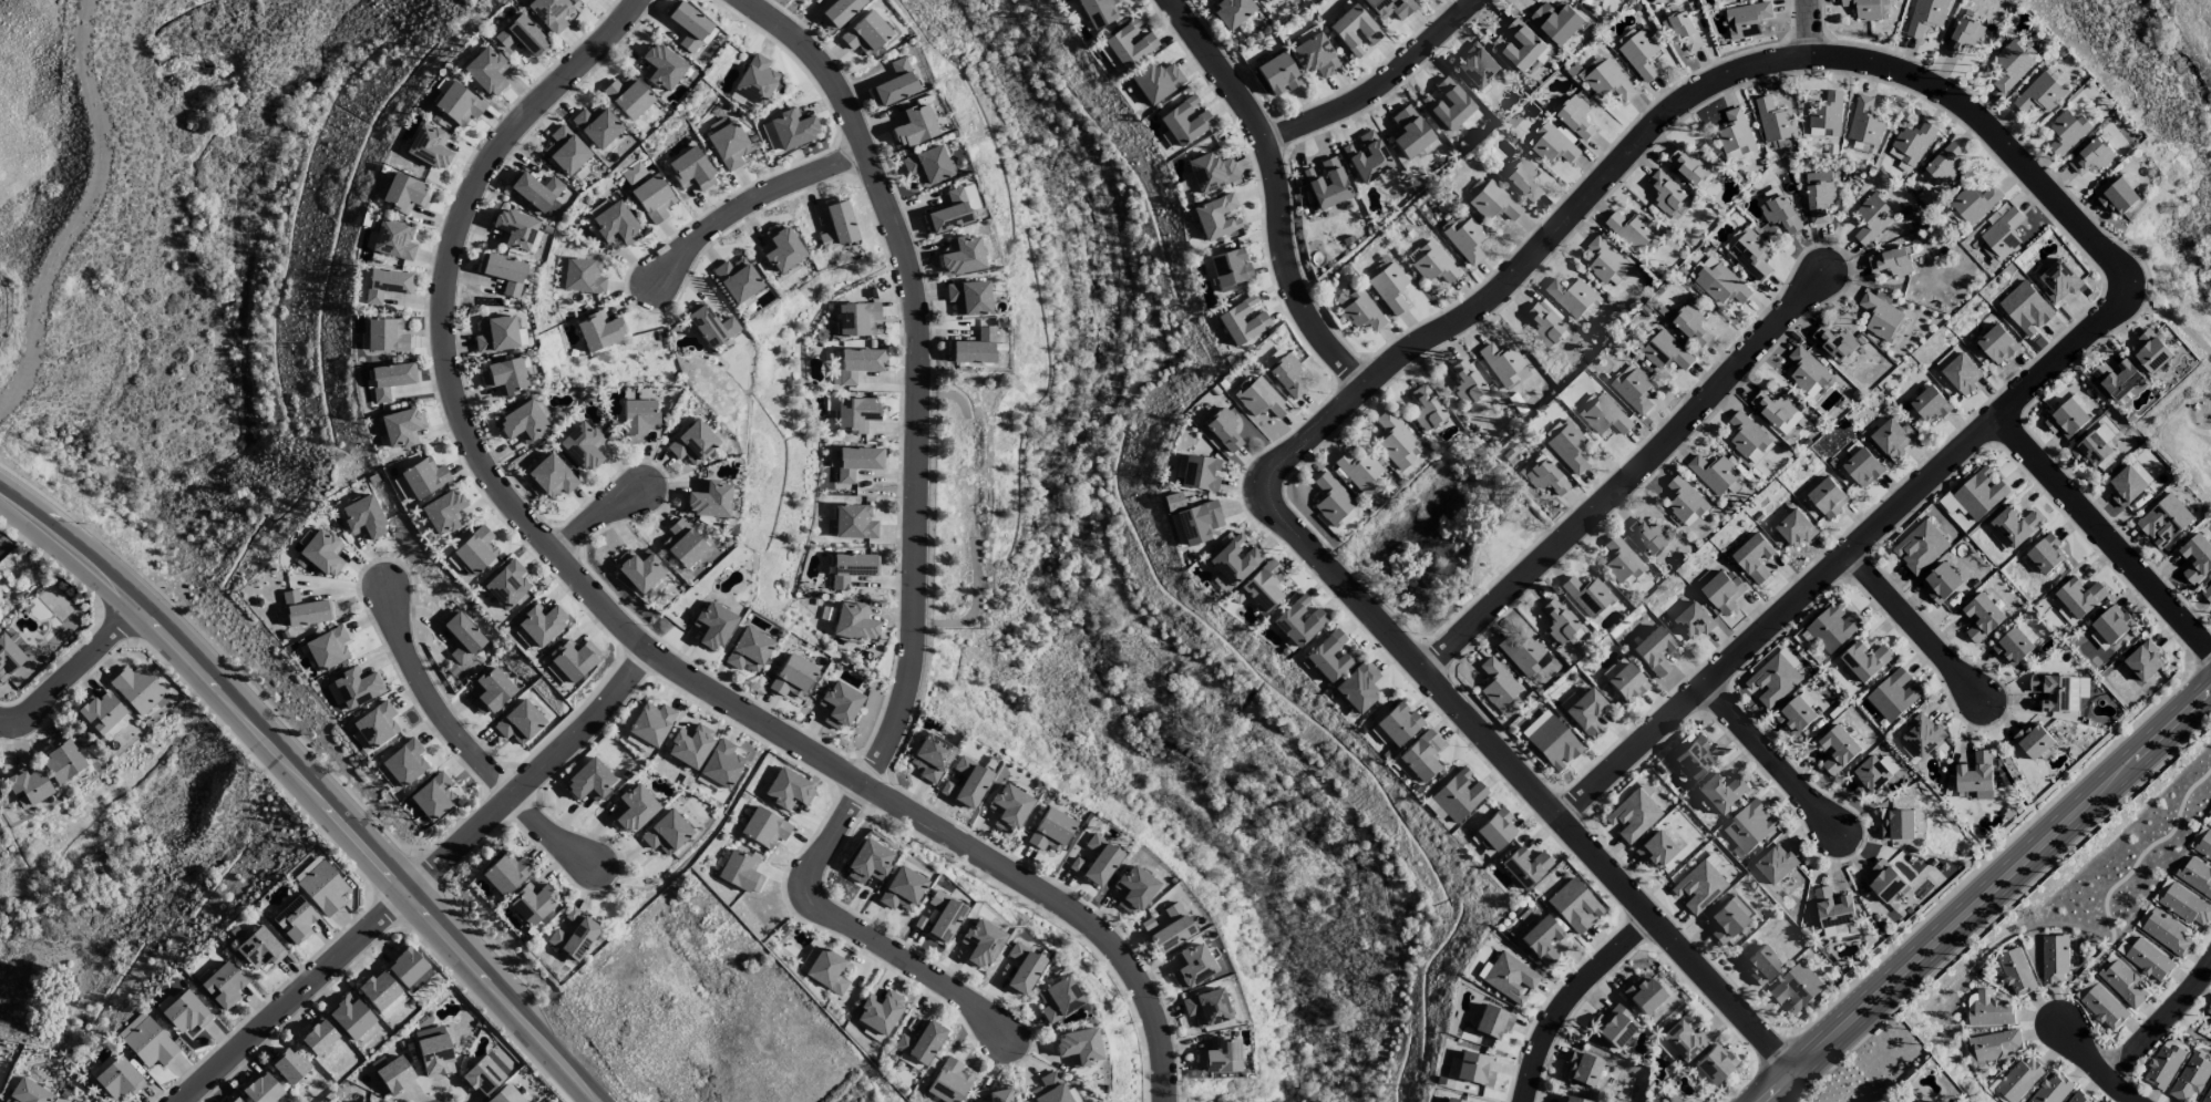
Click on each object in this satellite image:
building: (1598, 0)
building: (1265, 1)
building: (1390, 8)
building: (1865, 9)
building: (1099, 11)
building: (839, 12)
building: (1232, 12)
building: (551, 13)
building: (1926, 16)
building: (1747, 20)
building: (1557, 22)
building: (689, 25)
road: (1809, 27)
building: (1682, 30)
building: (1355, 31)
building: (865, 33)
building: (522, 37)
building: (1964, 37)
building: (1129, 43)
building: (1520, 45)
building: (1314, 55)
building: (1641, 55)
building: (661, 66)
building: (1477, 66)
building: (2011, 66)
park: (2150, 66)
building: (486, 71)
building: (1277, 73)
building: (755, 79)
building: (1155, 81)
building: (1608, 81)
building: (894, 84)
road: (1386, 87)
building: (2043, 92)
building: (628, 96)
building: (459, 103)
building: (1447, 103)
building: (1827, 116)
building: (1576, 117)
building: (1185, 120)
building: (1775, 121)
road: (1660, 122)
building: (1865, 123)
building: (596, 125)
building: (914, 125)
building: (793, 127)
building: (1409, 132)
building: (2066, 132)
building: (1735, 133)
building: (770, 136)
building: (727, 143)
building: (1913, 143)
building: (429, 146)
building: (1552, 146)
building: (565, 150)
building: (2091, 156)
building: (1367, 157)
building: (927, 165)
building: (1690, 166)
building: (1942, 166)
building: (691, 169)
building: (634, 172)
building: (1211, 172)
building: (1523, 179)
building: (1326, 183)
road: (1275, 188)
building: (537, 192)
building: (404, 193)
building: (1666, 193)
building: (1819, 195)
building: (970, 197)
building: (2117, 197)
building: (652, 198)
building: (1493, 202)
building: (1974, 204)
road: (755, 205)
road: (85, 209)
building: (949, 213)
building: (1780, 214)
building: (1217, 216)
building: (1872, 219)
building: (614, 222)
building: (837, 226)
building: (514, 228)
building: (1632, 230)
building: (2001, 236)
building: (393, 239)
building: (1464, 239)
building: (780, 248)
building: (961, 255)
building: (1749, 255)
building: (1605, 260)
building: (1431, 262)
building: (1891, 262)
building: (1230, 267)
building: (503, 272)
building: (584, 276)
building: (736, 279)
building: (2058, 281)
building: (387, 284)
building: (1720, 284)
building: (1389, 287)
building: (969, 297)
building: (1571, 297)
building: (1359, 309)
building: (2026, 309)
park: (2180, 317)
building: (856, 318)
building: (1881, 318)
road: (2174, 319)
building: (1242, 321)
building: (709, 325)
building: (1542, 325)
building: (1689, 325)
building: (599, 330)
building: (496, 333)
building: (385, 336)
building: (1834, 343)
building: (1997, 344)
building: (974, 348)
building: (1666, 352)
building: (2150, 352)
building: (860, 363)
building: (1502, 363)
road: (923, 370)
building: (1807, 371)
building: (1962, 373)
building: (1287, 374)
building: (504, 377)
building: (390, 379)
building: (2117, 379)
building: (1466, 381)
building: (1633, 389)
building: (1259, 398)
building: (1930, 405)
building: (1426, 408)
building: (1776, 412)
building: (855, 414)
building: (1603, 415)
building: (638, 419)
building: (2067, 420)
building: (522, 422)
building: (400, 426)
building: (1224, 430)
building: (1892, 437)
building: (1748, 439)
building: (1396, 440)
building: (692, 443)
building: (1566, 444)
building: (583, 445)
building: (2091, 451)
building: (856, 462)
building: (1862, 468)
building: (1359, 471)
building: (1200, 473)
building: (1717, 474)
building: (552, 475)
building: (423, 476)
building: (1545, 477)
road: (1629, 478)
building: (2126, 486)
building: (1981, 493)
building: (709, 498)
building: (1827, 498)
building: (1173, 501)
building: (1333, 501)
building: (1685, 502)
building: (443, 512)
building: (363, 517)
road: (596, 519)
building: (2163, 521)
building: (854, 522)
building: (1199, 522)
building: (2016, 526)
building: (1796, 529)
park: (1449, 531)
building: (1649, 536)
road: (2107, 538)
building: (2002, 542)
building: (682, 544)
road: (1865, 545)
building: (1920, 547)
building: (475, 549)
building: (322, 552)
building: (2046, 555)
building: (1754, 558)
building: (2197, 558)
building: (1621, 559)
building: (1234, 560)
building: (638, 568)
building: (852, 568)
building: (505, 584)
building: (1941, 584)
building: (1261, 586)
building: (1720, 590)
building: (2207, 591)
building: (1588, 595)
building: (2080, 597)
building: (305, 609)
building: (2067, 616)
building: (1982, 618)
building: (1557, 620)
building: (854, 621)
building: (1298, 621)
building: (1694, 621)
building: (541, 624)
building: (2112, 624)
building: (713, 625)
road: (625, 626)
building: (1833, 628)
road: (1917, 629)
building: (462, 637)
building: (2013, 647)
building: (328, 648)
building: (749, 650)
building: (1653, 650)
building: (1523, 655)
building: (1330, 656)
building: (8, 657)
building: (573, 659)
building: (1865, 661)
building: (2143, 661)
building: (792, 676)
road: (74, 678)
building: (1773, 680)
building: (1625, 681)
building: (1498, 686)
building: (357, 687)
building: (1358, 687)
building: (136, 688)
building: (491, 690)
building: (2051, 692)
building: (1893, 696)
building: (839, 704)
building: (101, 711)
building: (1586, 712)
building: (1796, 717)
building: (520, 722)
building: (651, 722)
building: (1398, 722)
building: (376, 724)
building: (113, 730)
building: (1922, 735)
building: (636, 741)
building: (2033, 741)
building: (1553, 743)
road: (469, 744)
building: (690, 744)
building: (1838, 750)
building: (1421, 754)
building: (932, 756)
building: (1693, 758)
building: (62, 760)
building: (404, 762)
road: (1772, 762)
building: (721, 763)
building: (1870, 775)
building: (1976, 775)
road: (537, 776)
building: (588, 780)
building: (969, 782)
road: (1525, 782)
building: (28, 786)
road: (309, 786)
building: (789, 790)
building: (1720, 792)
building: (1458, 794)
building: (430, 800)
building: (1009, 807)
building: (634, 809)
building: (1632, 815)
building: (2210, 823)
building: (1898, 825)
building: (1749, 826)
building: (764, 827)
building: (1497, 828)
building: (1050, 830)
building: (666, 832)
building: (2204, 845)
building: (1655, 849)
building: (1100, 861)
building: (867, 862)
building: (1776, 865)
building: (1524, 866)
building: (741, 871)
building: (505, 873)
building: (2195, 876)
building: (1884, 880)
building: (1697, 887)
building: (323, 888)
building: (902, 889)
building: (1134, 889)
road: (1989, 899)
building: (533, 905)
building: (1573, 905)
building: (2186, 906)
building: (1833, 913)
building: (943, 916)
building: (1728, 918)
building: (295, 919)
building: (919, 923)
building: (1172, 928)
road: (857, 930)
building: (2167, 934)
building: (574, 938)
building: (1541, 939)
building: (980, 943)
building: (259, 948)
building: (809, 957)
building: (2054, 959)
building: (2149, 960)
building: (1761, 965)
building: (1192, 967)
building: (409, 969)
building: (1022, 969)
building: (829, 971)
building: (2016, 972)
building: (1510, 977)
building: (2123, 983)
building: (223, 986)
building: (1796, 989)
building: (381, 993)
building: (1643, 993)
road: (296, 996)
building: (1059, 999)
road: (1574, 1001)
building: (1206, 1007)
building: (2105, 1008)
building: (1991, 1010)
building: (880, 1011)
building: (185, 1012)
building: (2208, 1012)
building: (350, 1016)
building: (1489, 1020)
building: (131, 1024)
road: (2161, 1024)
building: (1612, 1026)
building: (318, 1037)
building: (1679, 1039)
building: (150, 1043)
building: (918, 1044)
building: (1994, 1046)
building: (1079, 1047)
building: (434, 1051)
building: (1218, 1055)
building: (1714, 1063)
building: (289, 1065)
road: (2094, 1065)
building: (2163, 1067)
building: (1474, 1069)
building: (1583, 1069)
building: (394, 1074)
building: (484, 1074)
building: (2190, 1078)
building: (117, 1079)
building: (2020, 1079)
building: (948, 1081)
building: (261, 1089)
building: (1050, 1089)
building: (2053, 1089)
building: (27, 1092)
building: (505, 1094)
building: (2208, 1094)
building: (999, 1096)
building: (2078, 1098)
building: (1569, 1099)
building: (234, 1100)
building: (1453, 1100)
building: (1914, 1101)

